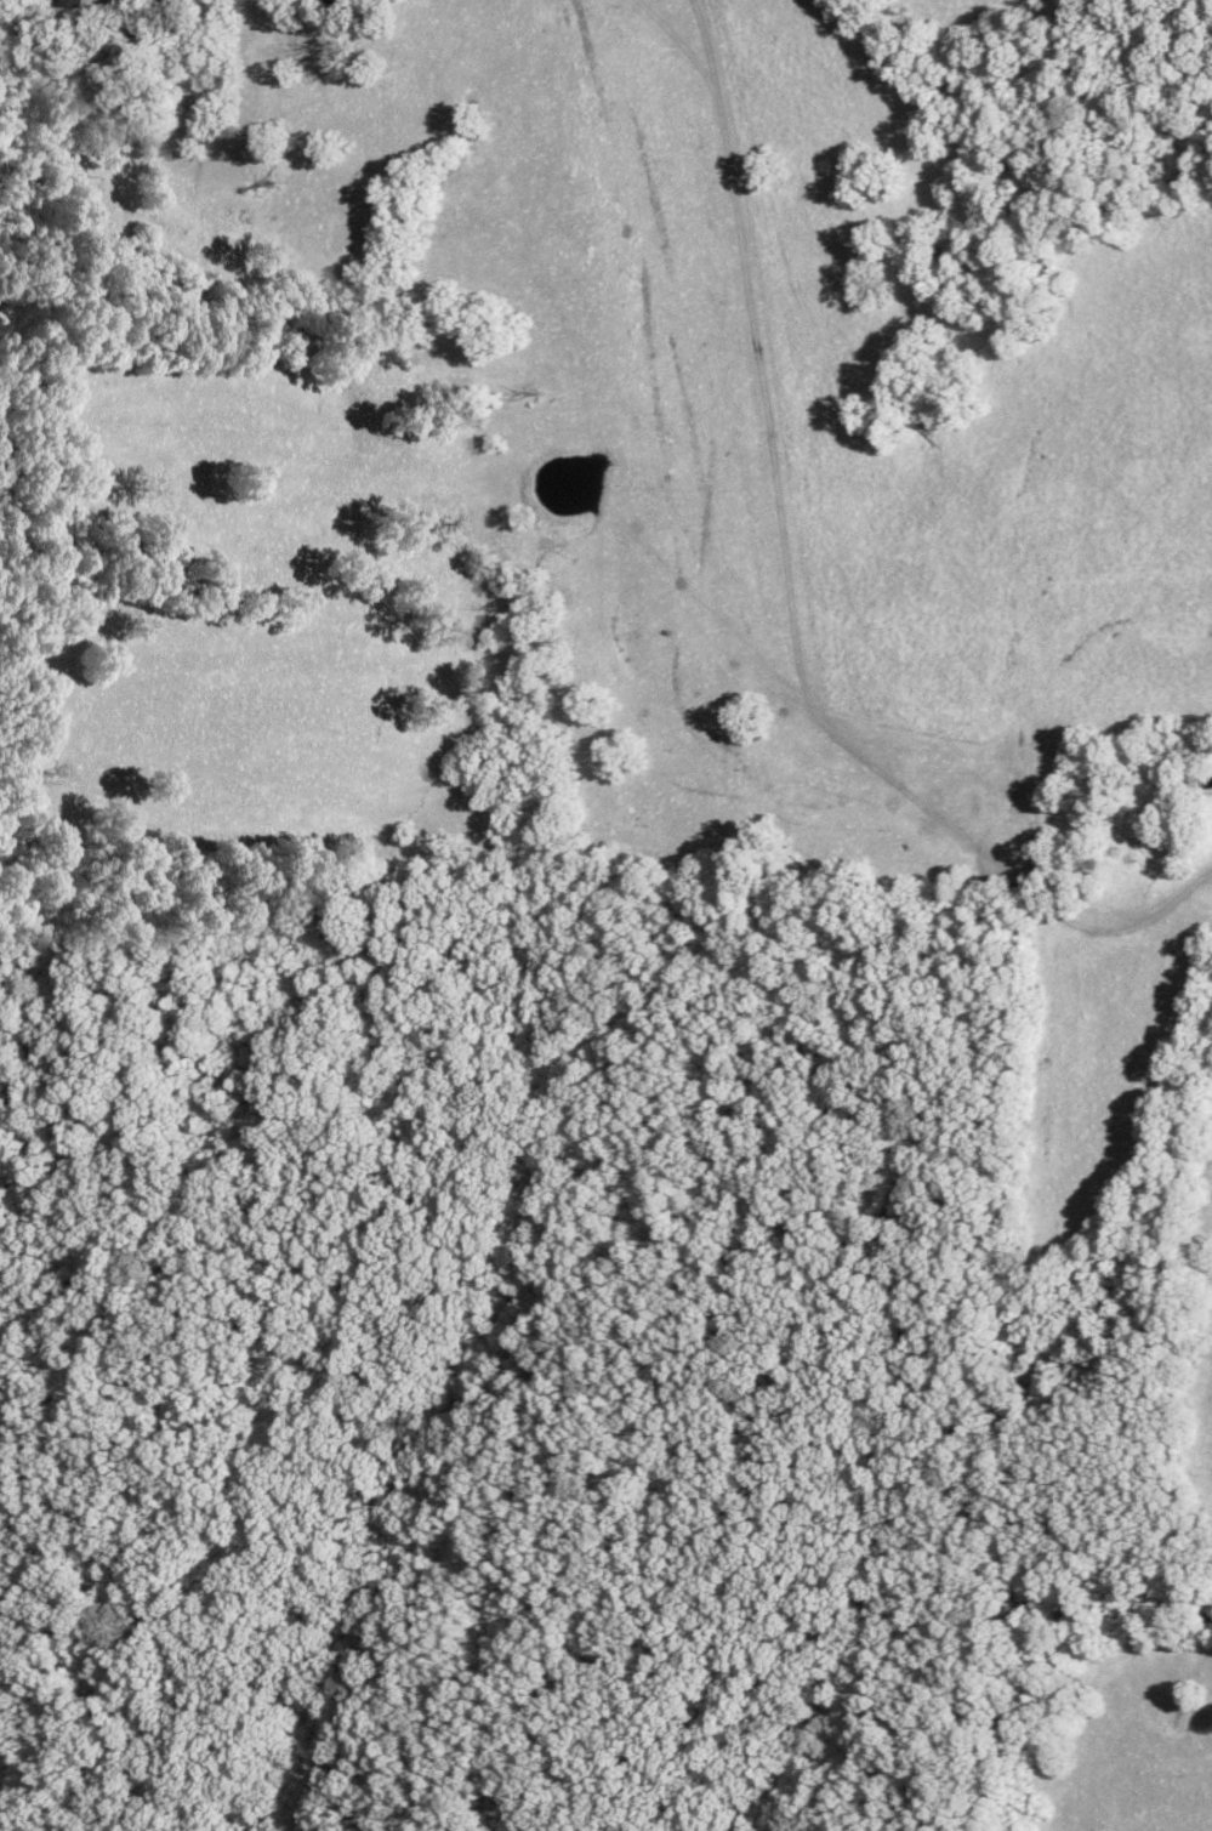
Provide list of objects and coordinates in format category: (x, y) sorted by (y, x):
building: (70, 5)

